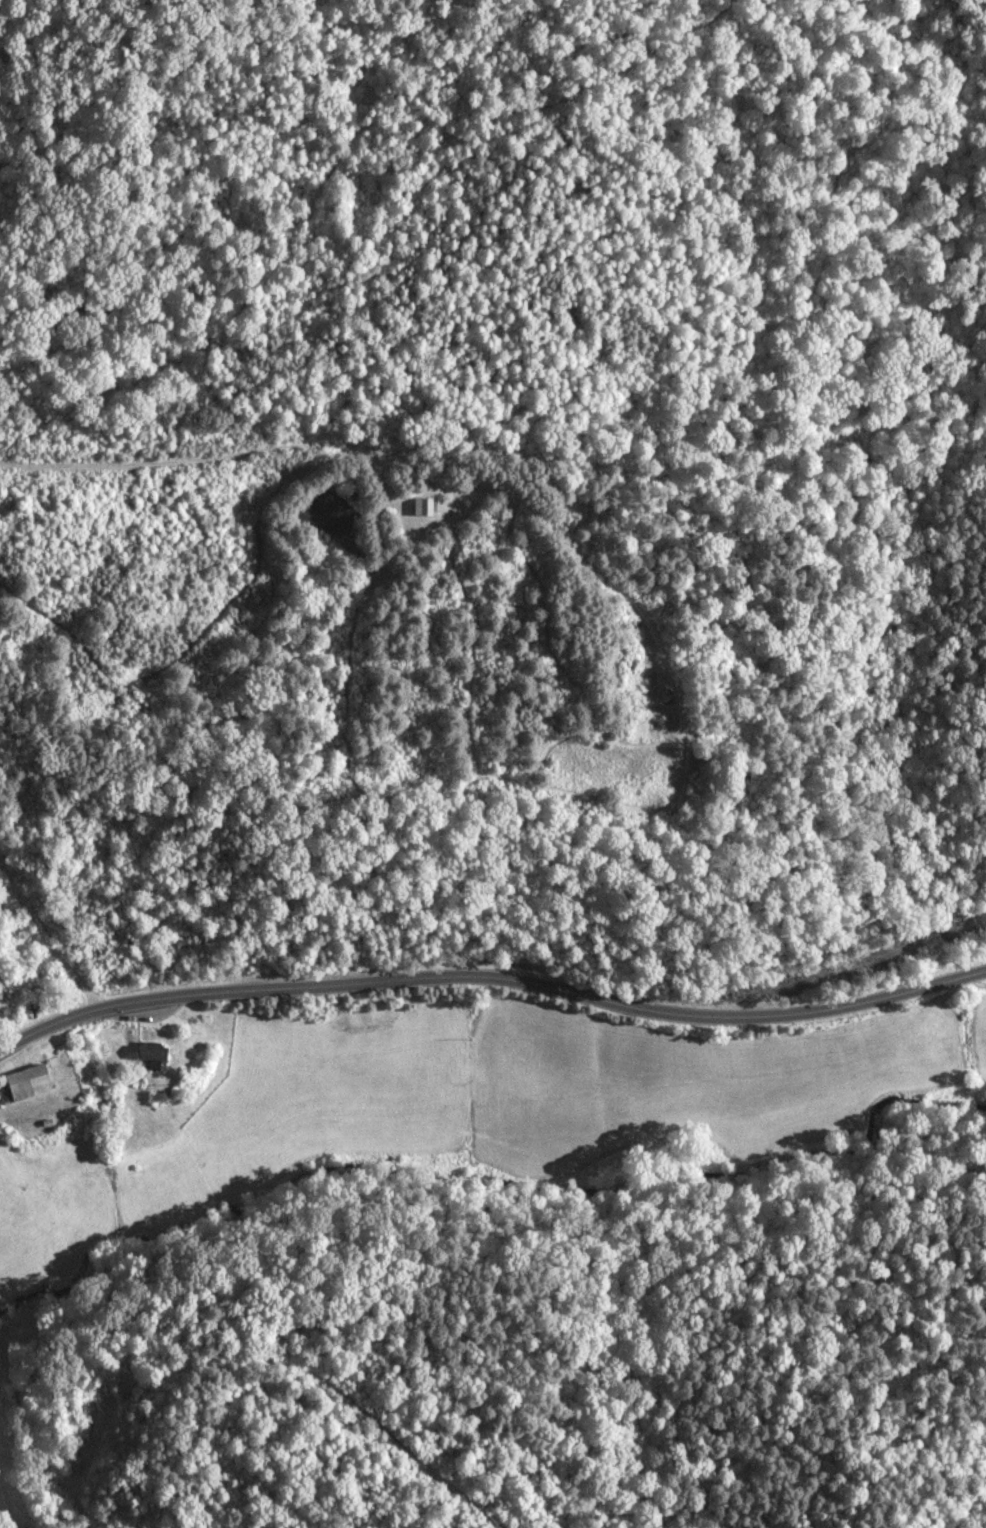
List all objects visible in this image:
road: (222, 465)
road: (46, 944)
road: (492, 981)
building: (154, 1054)
building: (25, 1084)

